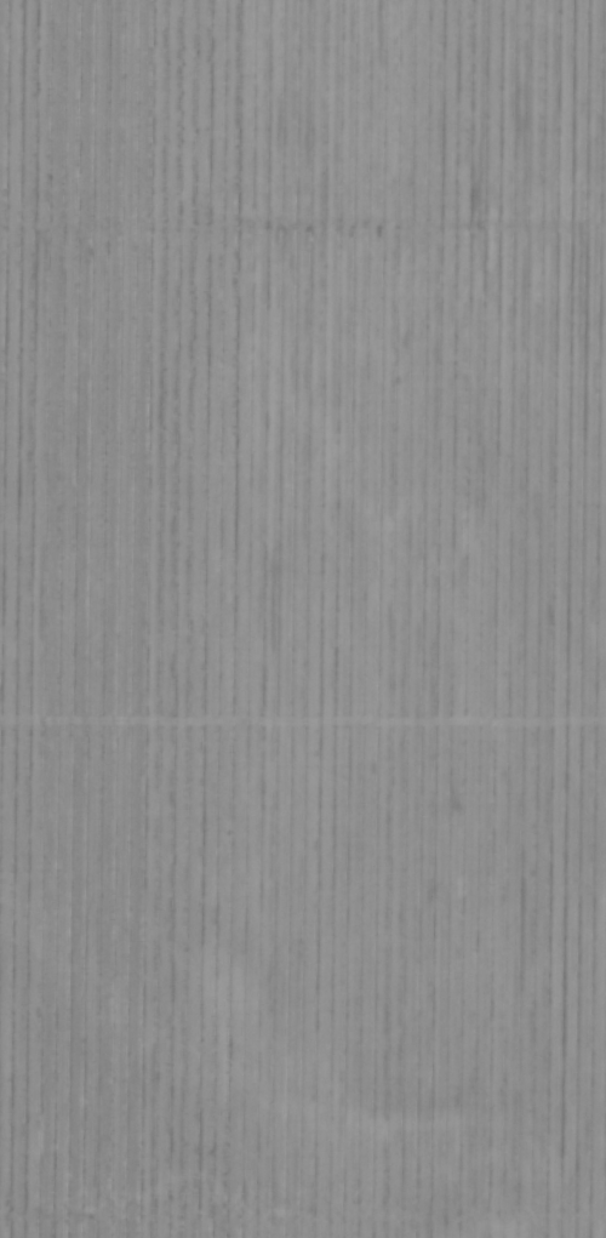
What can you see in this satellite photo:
crop: (303, 618)

